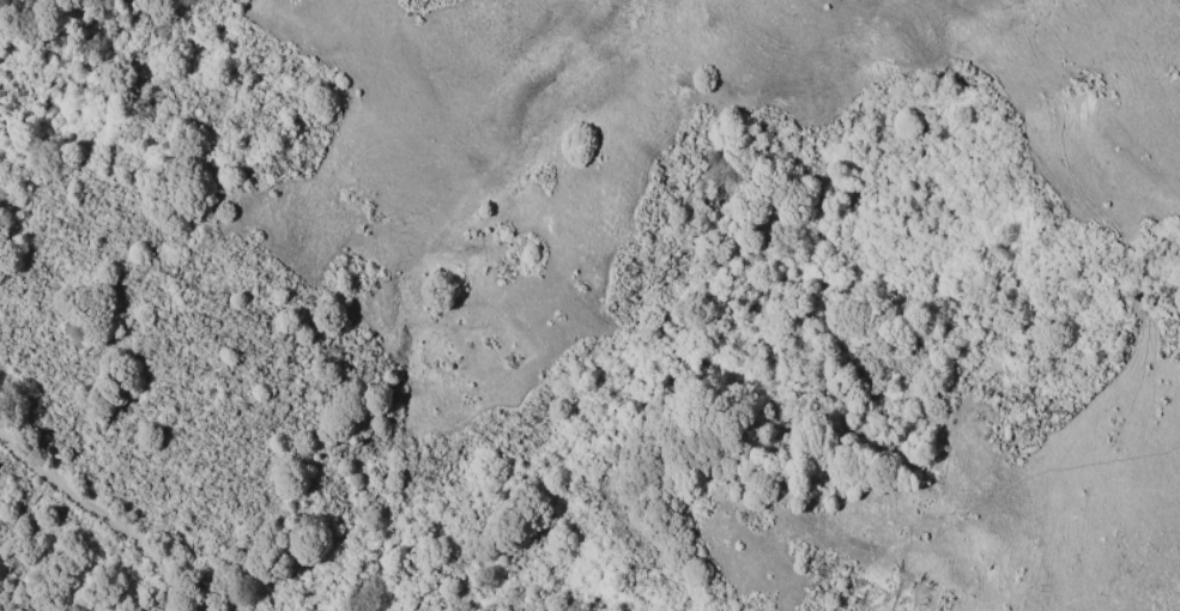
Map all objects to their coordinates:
road: (105, 514)

